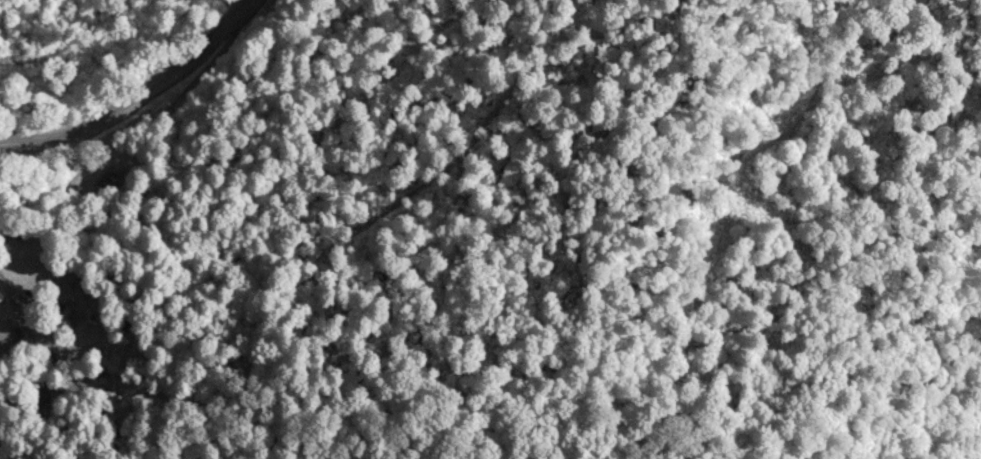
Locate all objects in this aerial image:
road: (139, 93)

